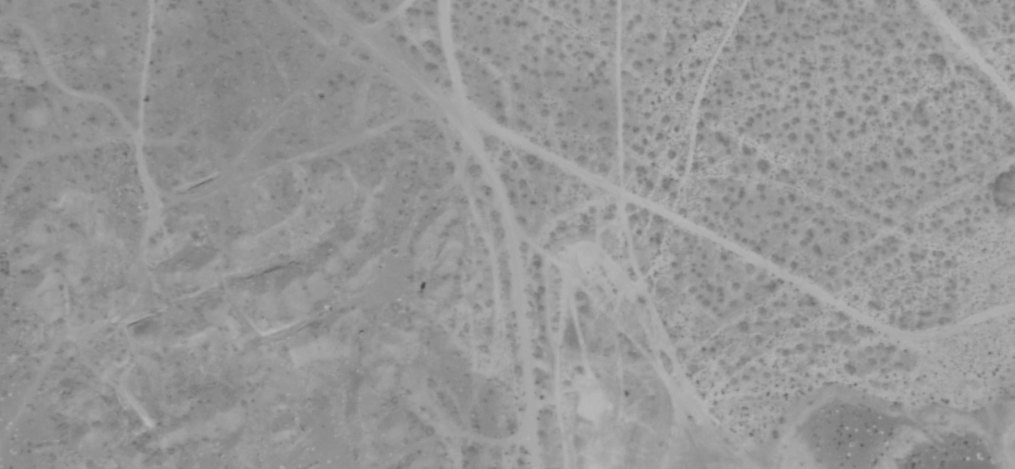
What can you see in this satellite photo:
road: (343, 20)
road: (509, 226)

